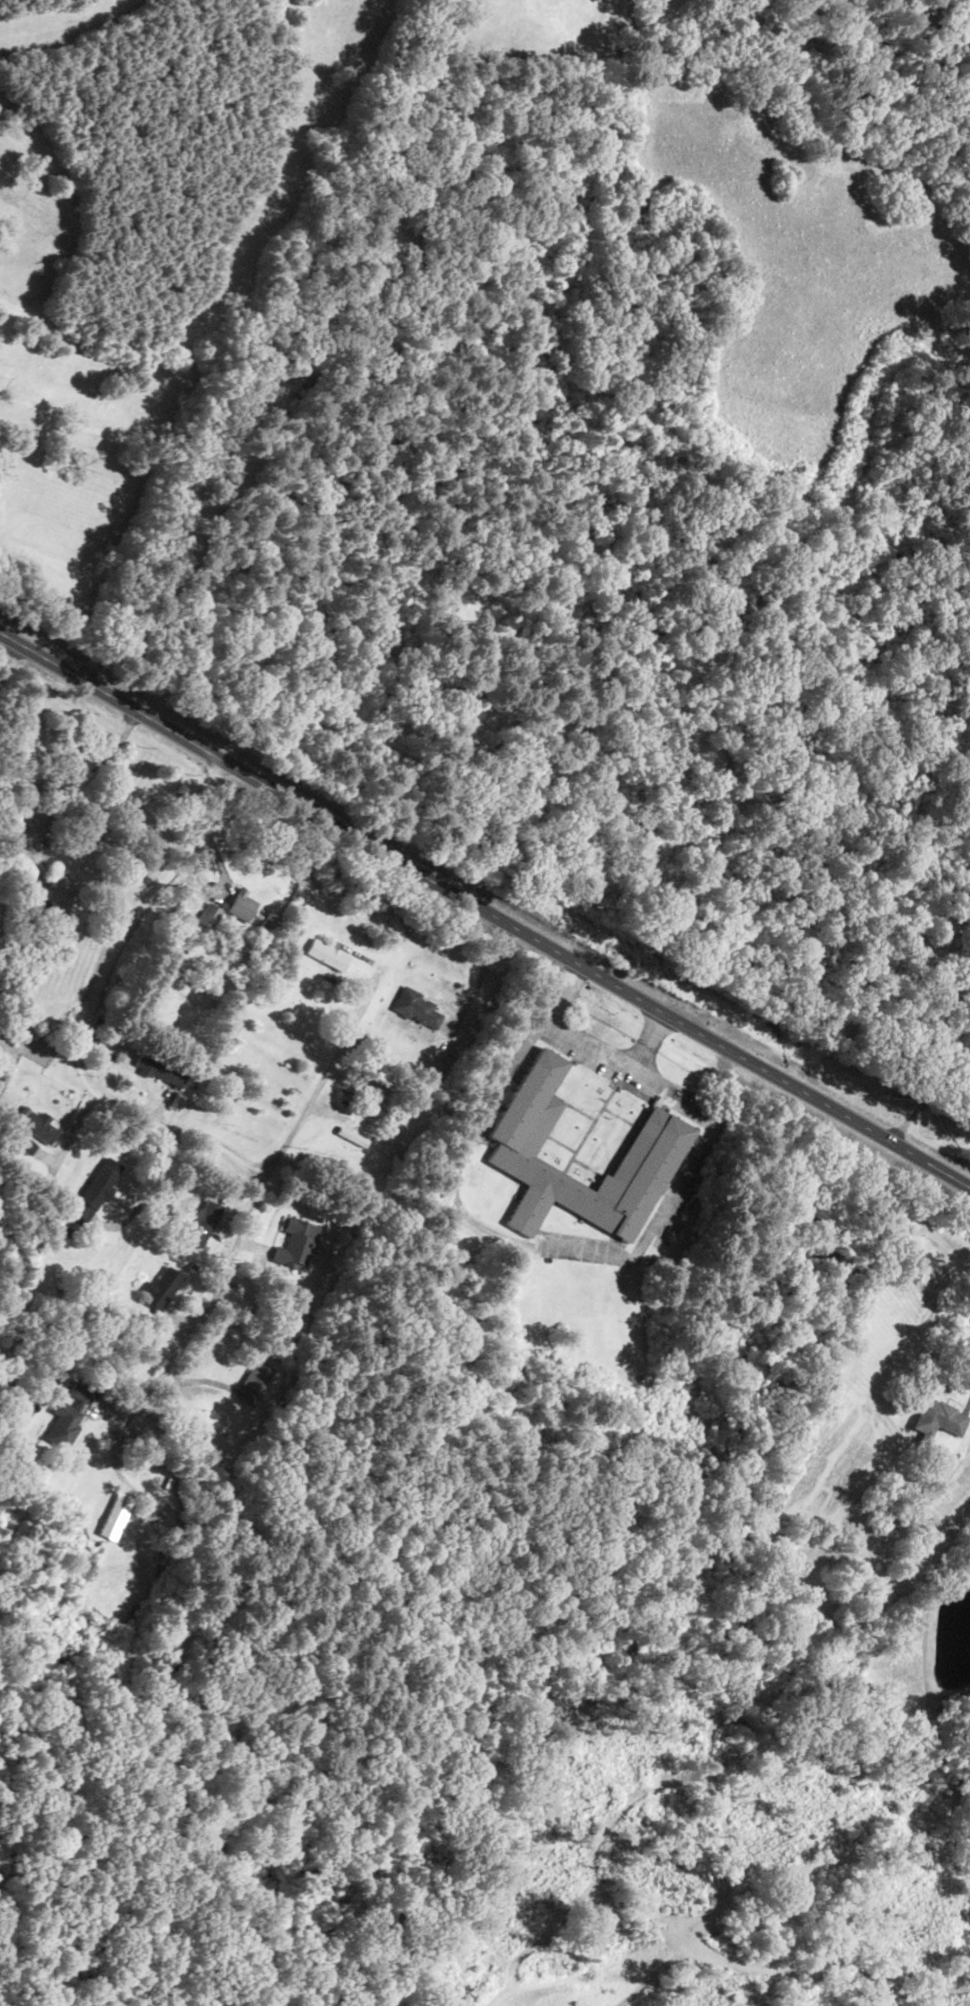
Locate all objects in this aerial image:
road: (530, 284)
building: (55, 896)
building: (239, 904)
building: (266, 924)
road: (482, 925)
building: (326, 953)
road: (371, 1001)
building: (415, 1007)
building: (159, 1068)
building: (383, 1108)
building: (38, 1127)
building: (353, 1137)
building: (25, 1146)
building: (652, 1149)
building: (475, 1176)
building: (93, 1192)
building: (203, 1223)
building: (297, 1243)
building: (160, 1287)
building: (252, 1382)
building: (938, 1417)
building: (62, 1425)
building: (114, 1515)

